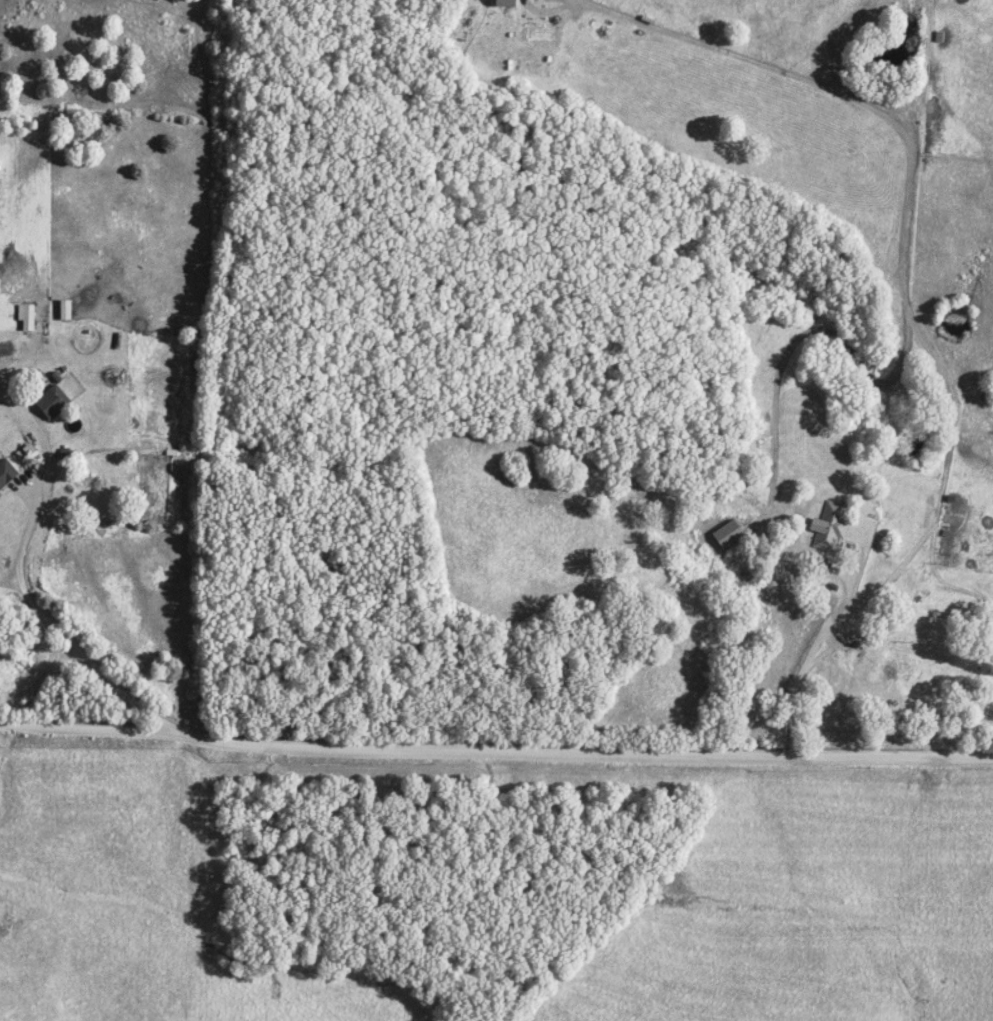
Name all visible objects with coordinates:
building: (502, 3)
building: (64, 311)
building: (25, 317)
road: (5, 371)
building: (50, 403)
building: (6, 473)
building: (828, 528)
building: (726, 535)
road: (7, 578)
road: (929, 582)
road: (16, 587)
road: (494, 753)

